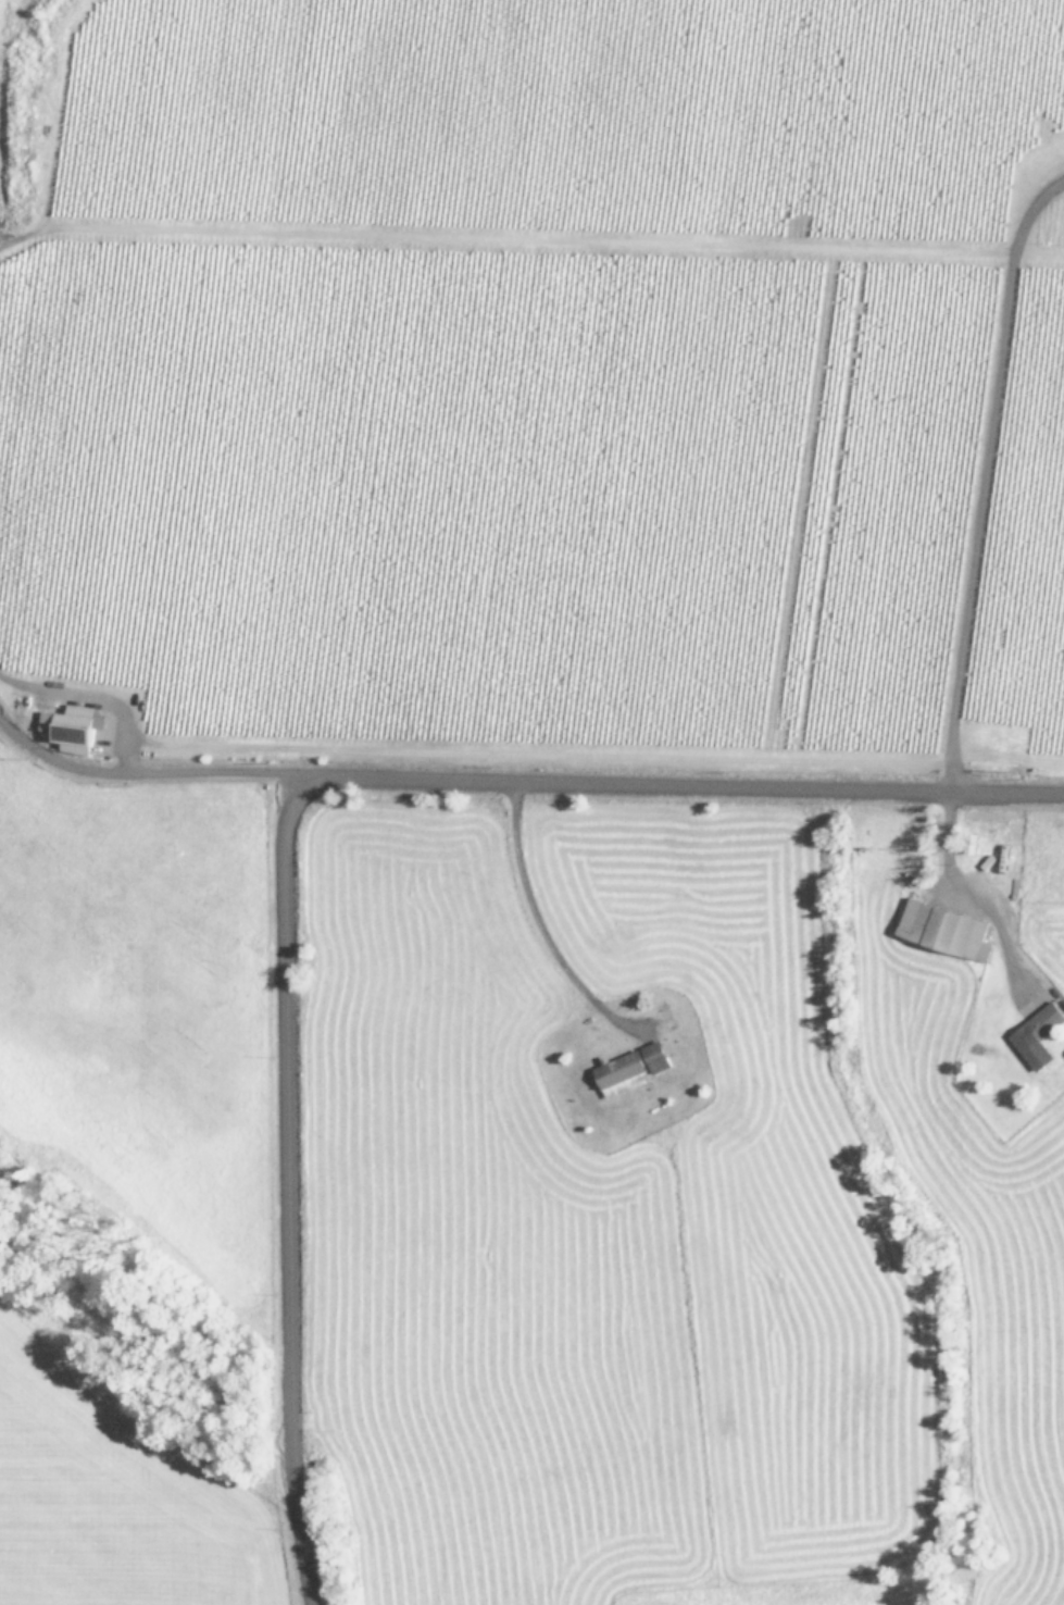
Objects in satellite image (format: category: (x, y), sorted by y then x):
road: (969, 464)
road: (91, 693)
road: (143, 771)
road: (284, 809)
road: (962, 887)
road: (538, 922)
building: (947, 929)
building: (1040, 1035)
building: (660, 1056)
building: (625, 1073)

